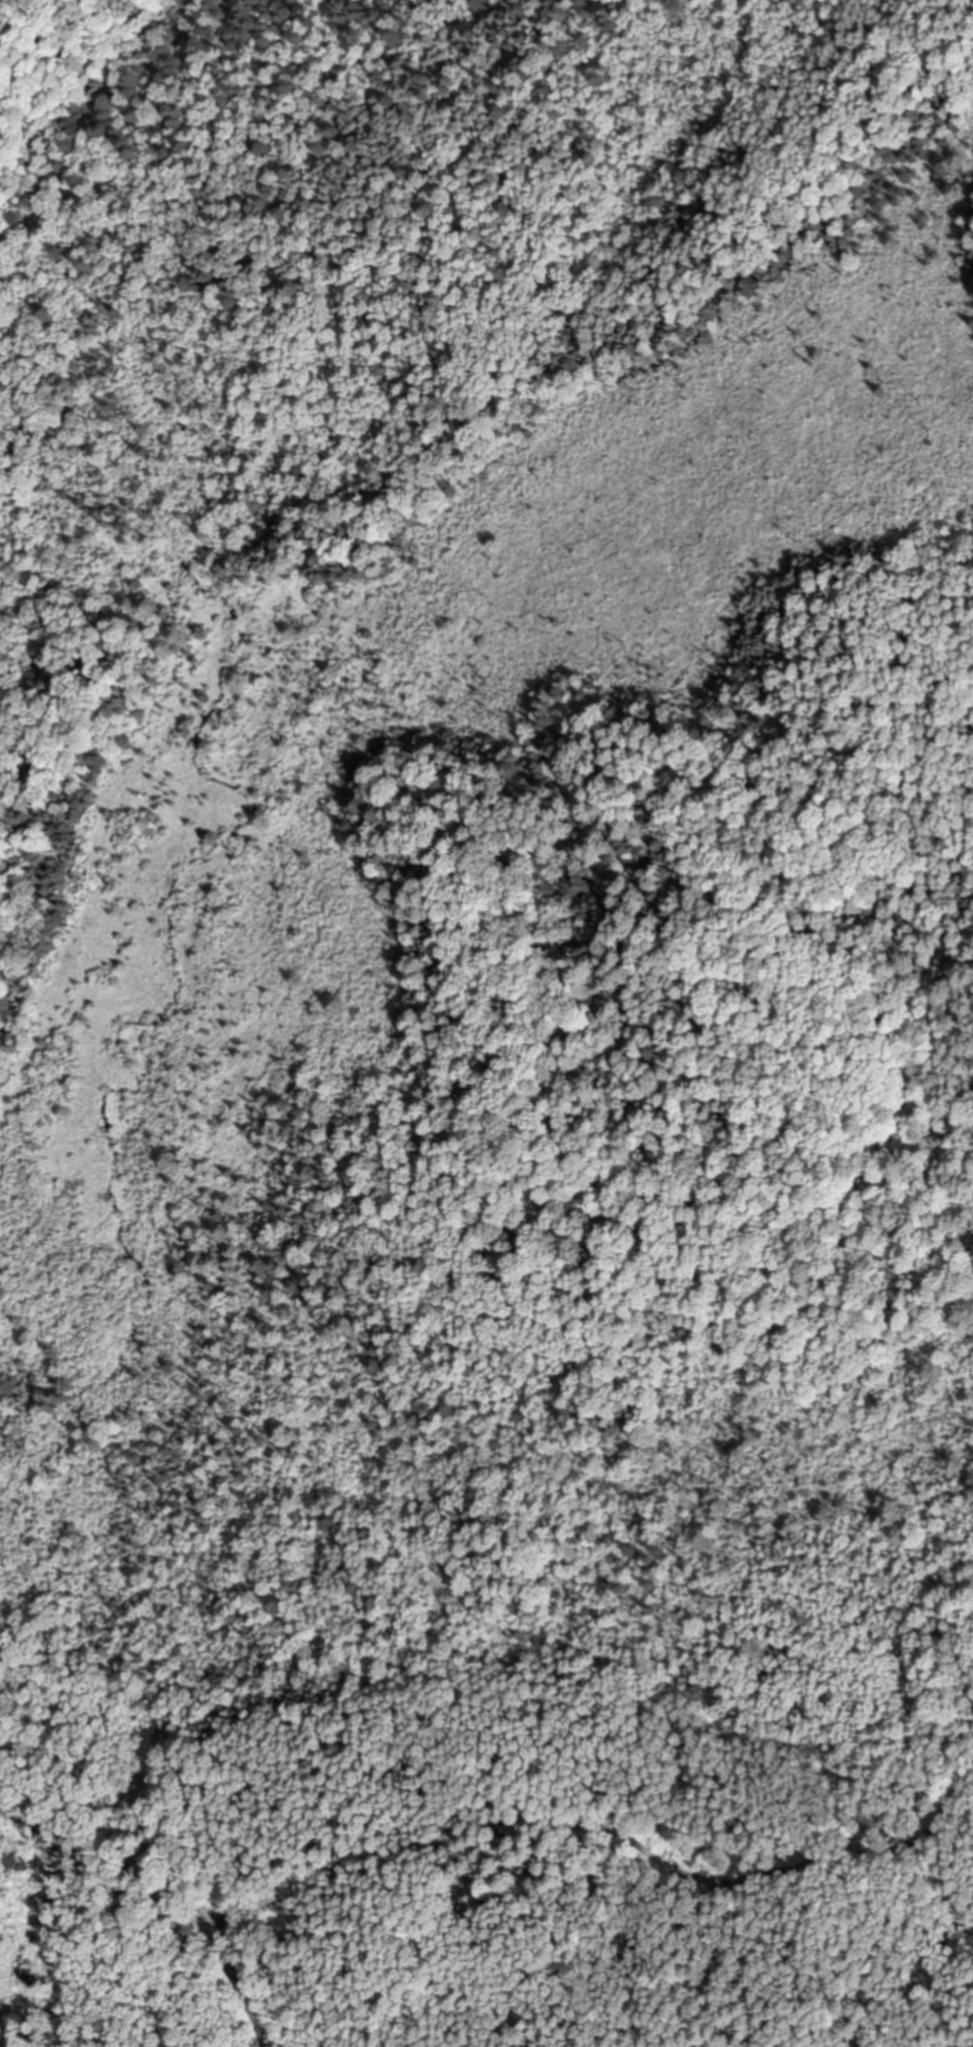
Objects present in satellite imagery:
road: (547, 1830)

